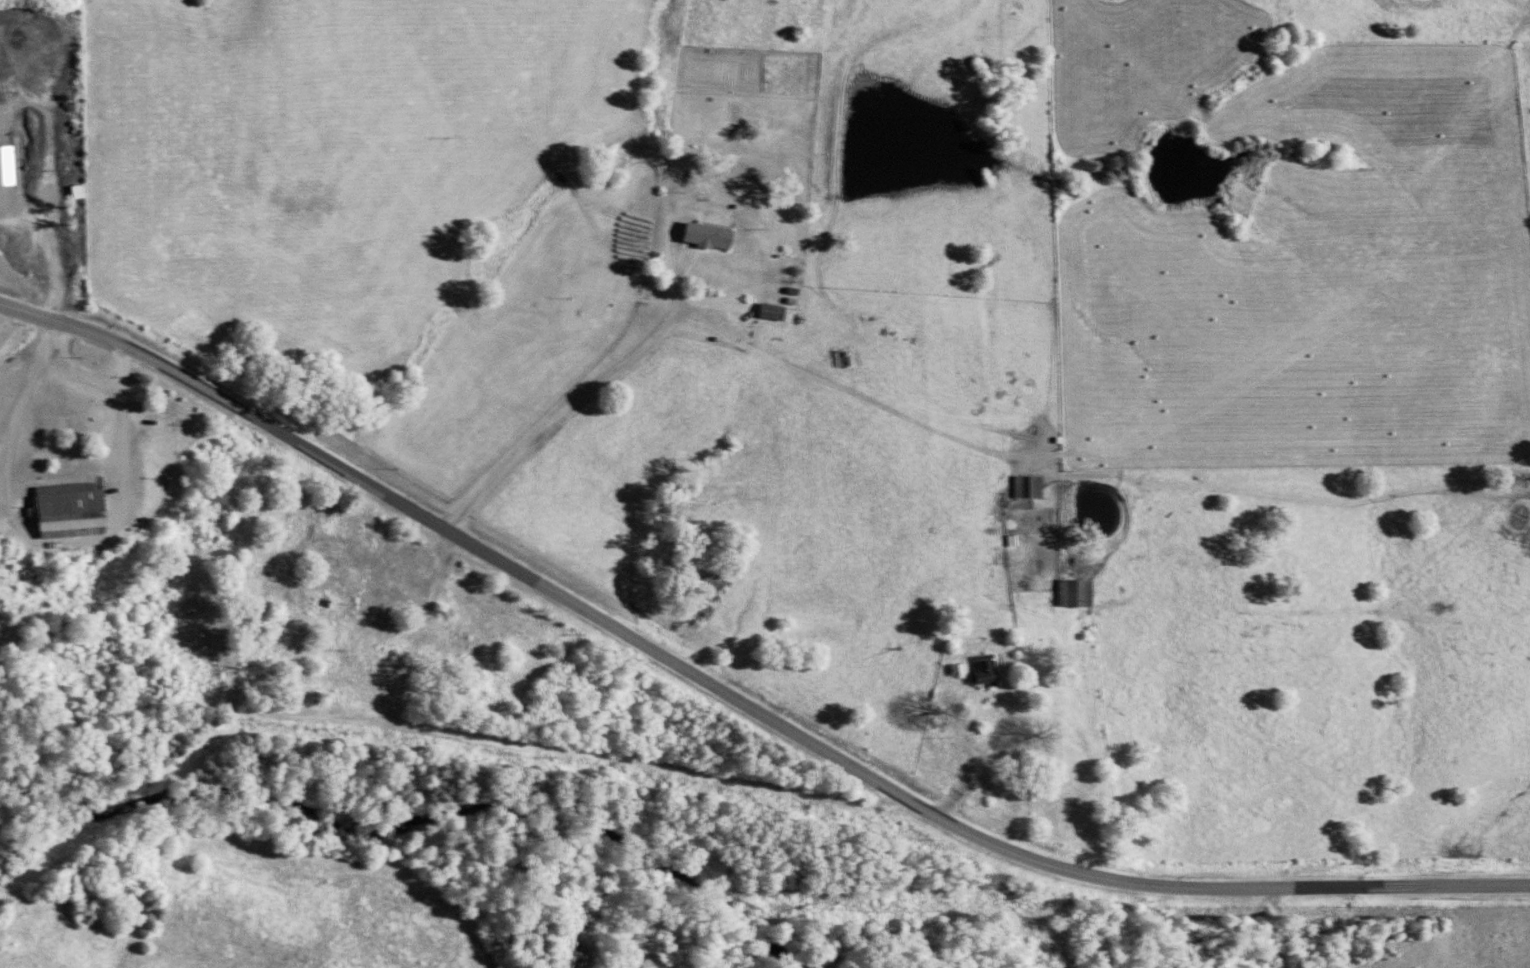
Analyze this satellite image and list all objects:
building: (9, 165)
building: (714, 235)
building: (778, 310)
building: (75, 509)
building: (989, 664)
building: (966, 667)
road: (738, 698)
road: (1271, 927)

